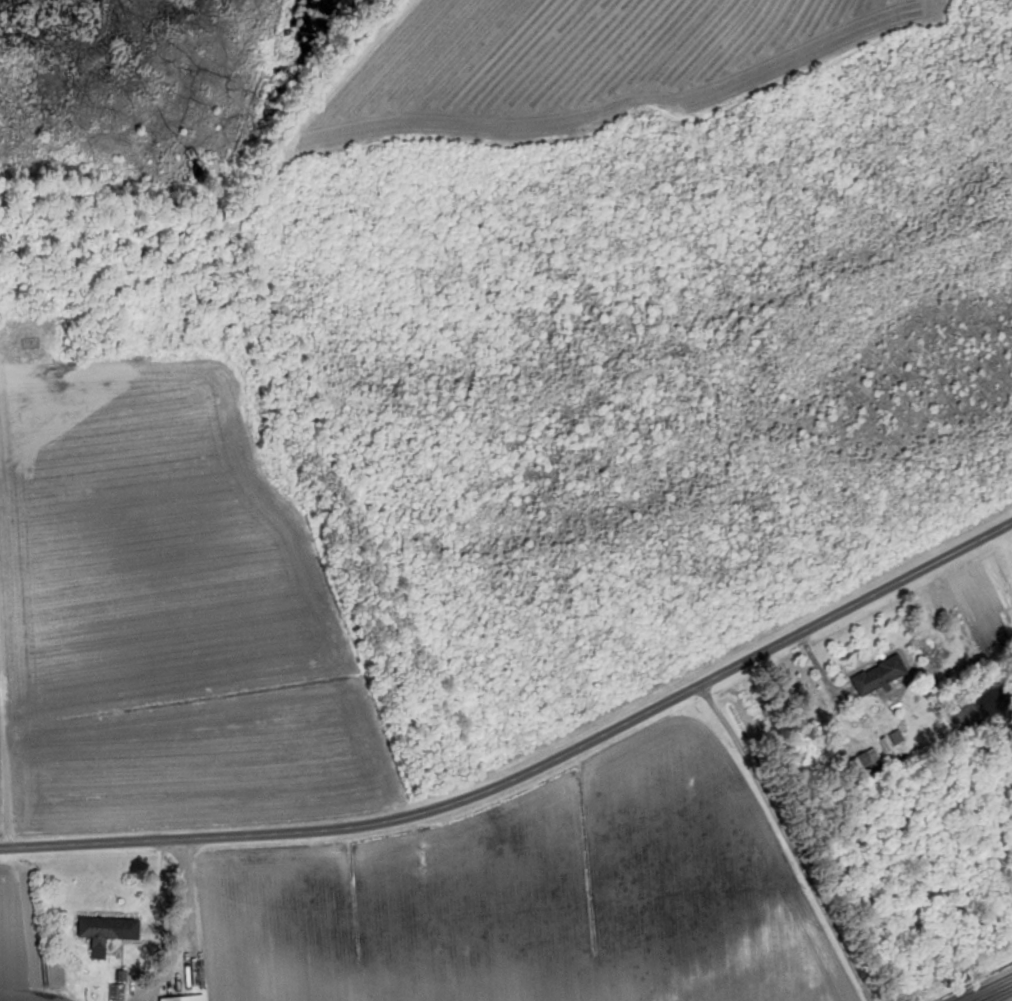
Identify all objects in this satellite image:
building: (881, 676)
road: (529, 769)
road: (777, 842)
building: (108, 933)
building: (187, 999)

